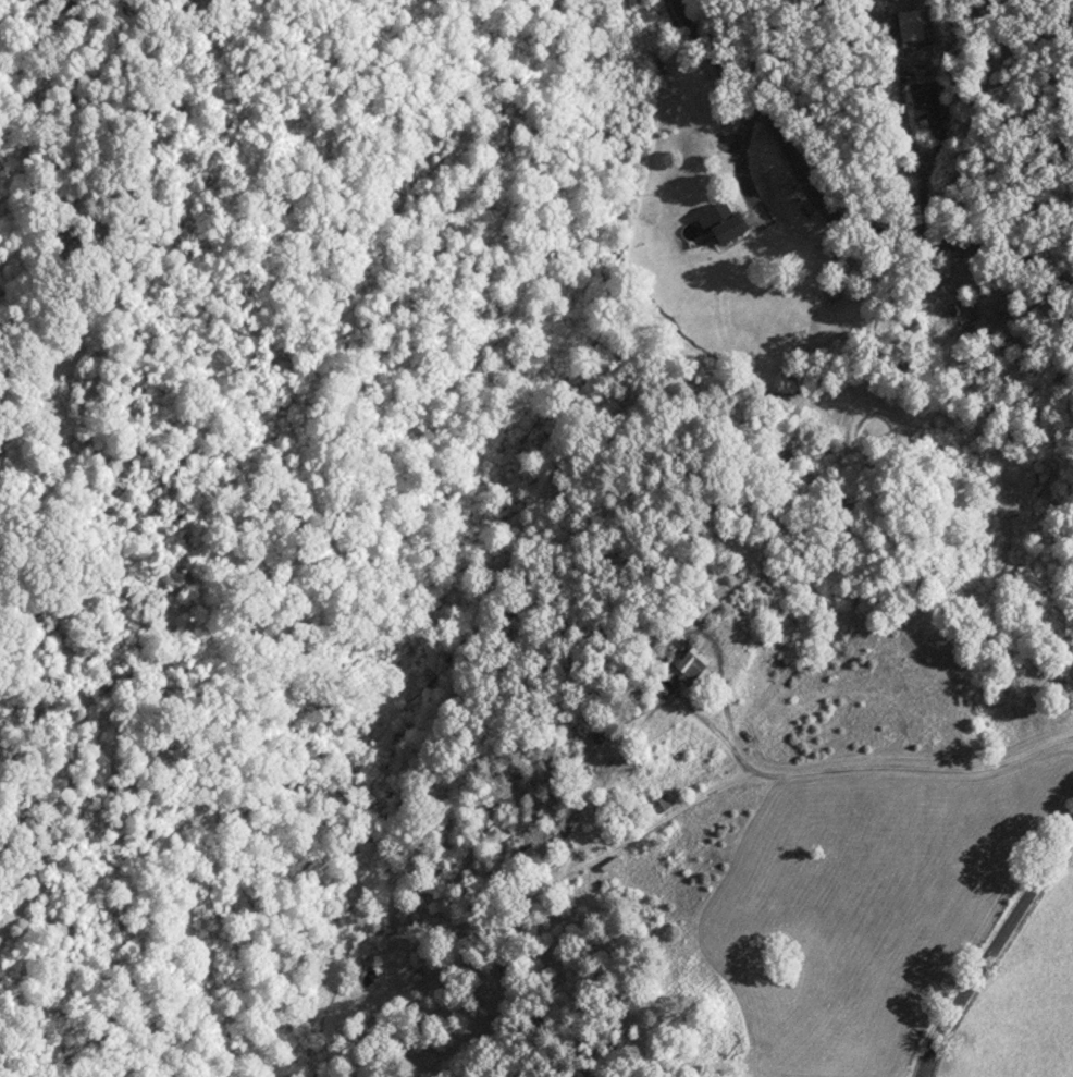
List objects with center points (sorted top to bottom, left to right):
building: (930, 105)
road: (853, 191)
building: (728, 224)
building: (698, 663)
road: (729, 674)
building: (606, 735)
building: (662, 805)
road: (996, 934)

